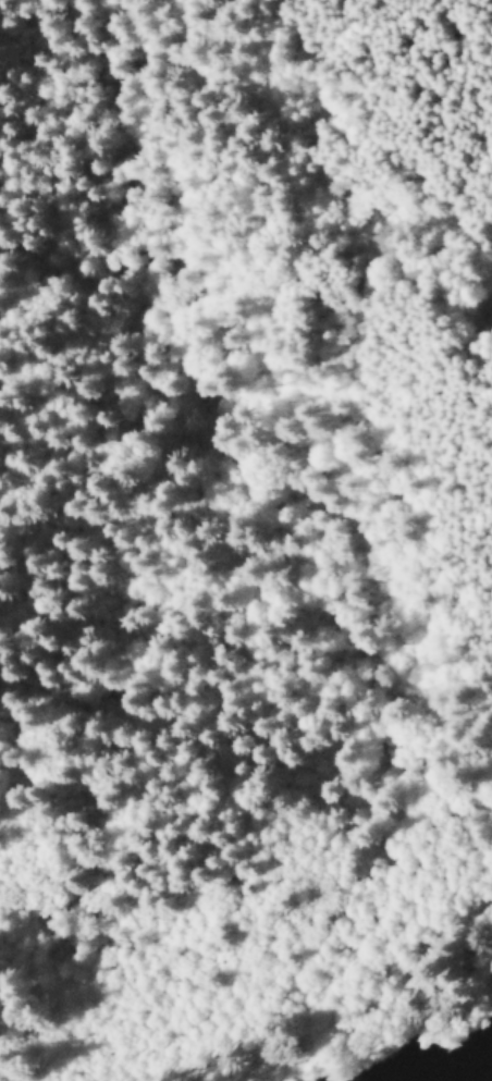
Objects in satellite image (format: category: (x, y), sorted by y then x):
river: (471, 1076)

